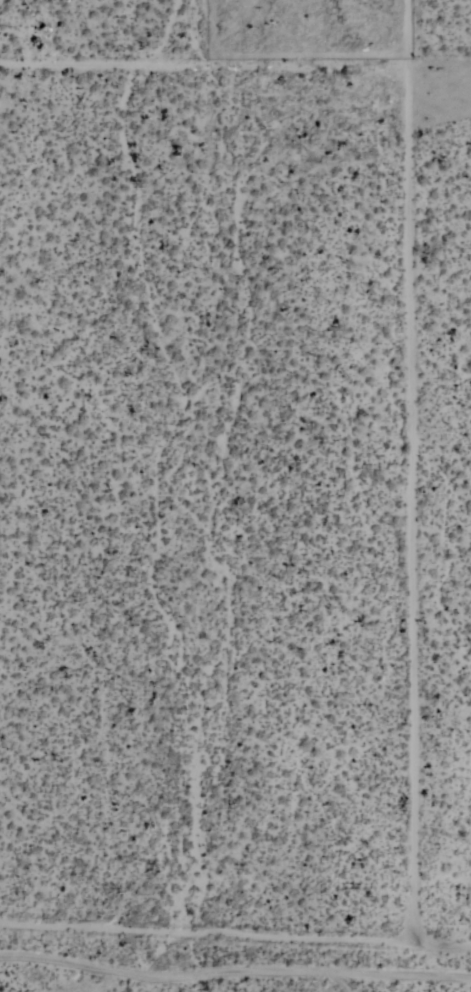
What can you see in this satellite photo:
road: (234, 973)

